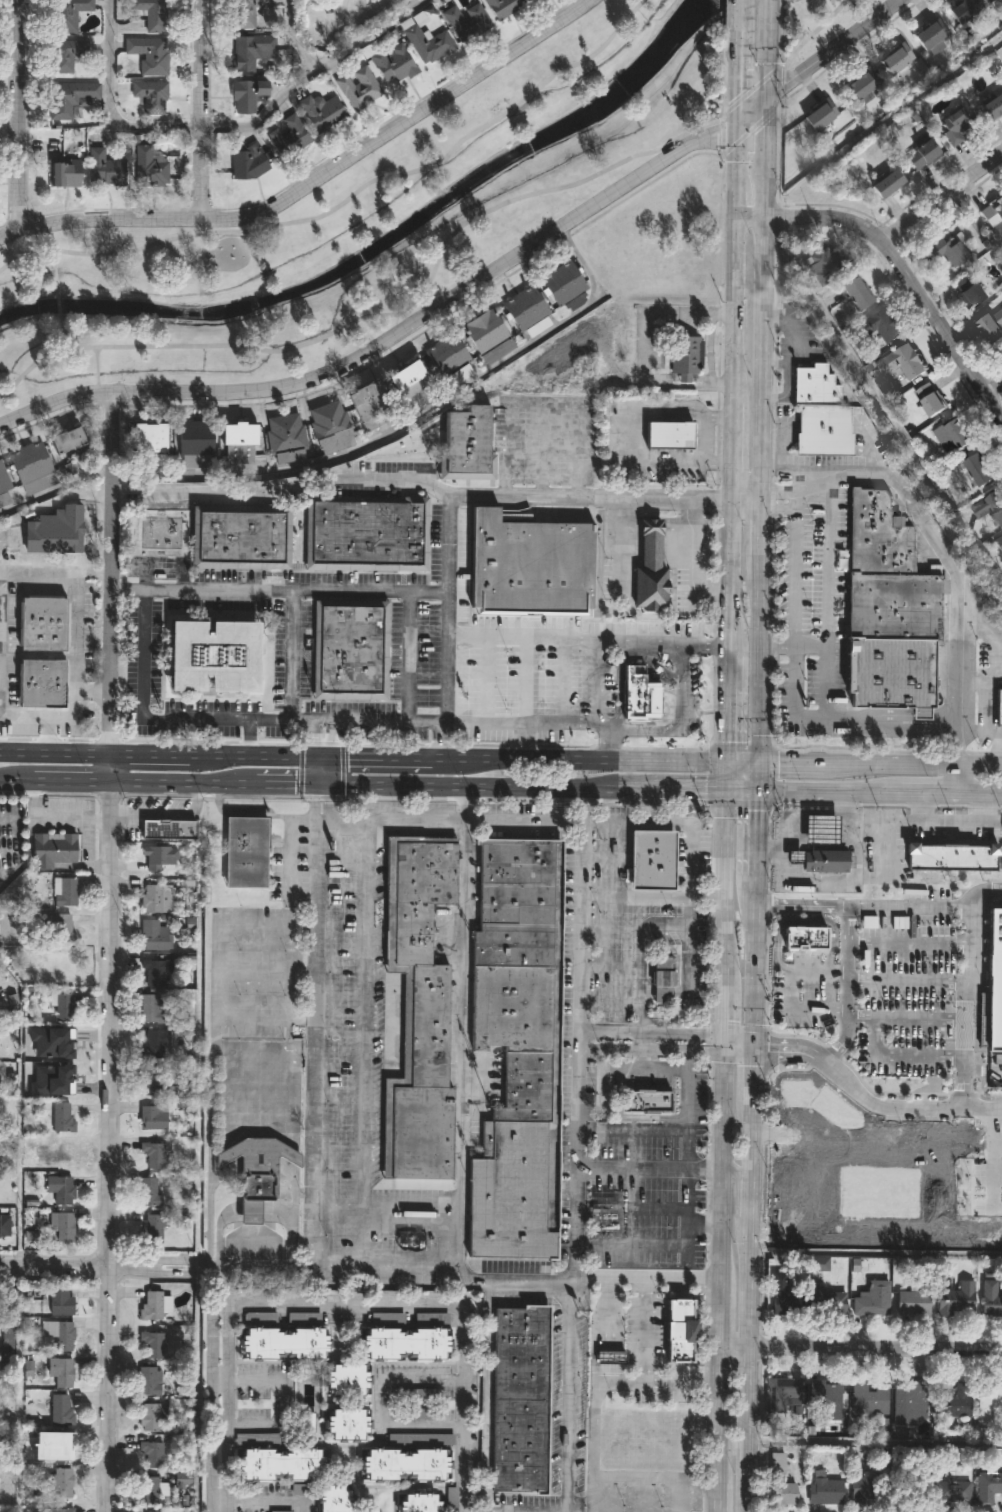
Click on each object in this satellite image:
building: (504, 7)
building: (246, 12)
building: (963, 12)
road: (769, 13)
building: (69, 14)
road: (727, 14)
road: (740, 14)
road: (778, 15)
building: (148, 16)
building: (467, 22)
building: (930, 33)
road: (287, 39)
building: (430, 44)
road: (799, 45)
building: (251, 51)
building: (150, 54)
building: (68, 55)
building: (895, 59)
building: (395, 64)
road: (311, 72)
building: (861, 84)
building: (360, 88)
building: (249, 96)
traffic signals: (770, 96)
building: (152, 97)
building: (70, 98)
road: (109, 103)
building: (992, 106)
road: (198, 110)
building: (323, 112)
road: (17, 115)
building: (819, 115)
traffic signals: (738, 125)
building: (956, 127)
building: (290, 137)
building: (922, 155)
building: (251, 163)
building: (107, 169)
building: (151, 169)
building: (67, 175)
road: (316, 182)
building: (887, 184)
road: (346, 198)
road: (943, 199)
park: (394, 208)
building: (992, 211)
building: (948, 251)
road: (766, 263)
road: (904, 265)
building: (822, 266)
road: (55, 271)
building: (572, 279)
road: (476, 286)
building: (556, 288)
building: (968, 291)
building: (855, 294)
road: (423, 295)
road: (58, 305)
building: (535, 309)
building: (521, 317)
building: (878, 325)
building: (991, 326)
building: (493, 327)
road: (61, 336)
building: (478, 337)
road: (641, 345)
road: (710, 349)
building: (457, 356)
road: (734, 356)
building: (686, 357)
building: (901, 362)
building: (442, 365)
building: (414, 374)
building: (401, 382)
road: (992, 384)
building: (816, 387)
building: (930, 399)
building: (379, 403)
building: (365, 410)
road: (698, 411)
building: (336, 416)
building: (321, 421)
road: (640, 423)
building: (824, 430)
building: (295, 431)
building: (275, 435)
building: (952, 436)
building: (667, 437)
road: (675, 437)
road: (706, 438)
building: (76, 439)
building: (143, 439)
building: (161, 439)
building: (186, 439)
building: (204, 439)
building: (232, 442)
building: (248, 443)
building: (465, 444)
building: (62, 445)
road: (351, 449)
road: (675, 456)
building: (39, 462)
road: (637, 462)
building: (70, 468)
building: (22, 469)
building: (977, 469)
building: (3, 482)
road: (281, 491)
road: (461, 500)
road: (748, 500)
road: (781, 501)
road: (797, 505)
building: (989, 506)
building: (56, 533)
building: (366, 535)
building: (879, 538)
building: (239, 539)
building: (999, 542)
road: (693, 560)
building: (528, 568)
road: (91, 570)
building: (655, 573)
road: (797, 578)
road: (127, 591)
road: (160, 591)
road: (826, 601)
building: (894, 608)
building: (43, 625)
road: (984, 625)
road: (760, 631)
road: (522, 636)
road: (617, 641)
road: (74, 644)
road: (744, 646)
road: (779, 646)
road: (812, 648)
building: (350, 651)
road: (292, 657)
building: (215, 658)
road: (408, 658)
road: (956, 659)
building: (889, 675)
road: (979, 679)
parking lot: (520, 680)
building: (43, 684)
road: (90, 691)
building: (640, 695)
building: (999, 709)
road: (306, 721)
road: (382, 722)
road: (542, 724)
road: (682, 724)
road: (726, 724)
road: (990, 735)
road: (48, 736)
road: (249, 738)
road: (321, 738)
road: (955, 747)
road: (160, 754)
traffic signals: (321, 756)
road: (523, 757)
traffic signals: (725, 762)
road: (740, 762)
traffic signals: (756, 762)
road: (879, 763)
road: (320, 770)
road: (724, 775)
road: (756, 775)
road: (9, 778)
road: (953, 779)
road: (63, 780)
road: (175, 782)
road: (281, 784)
traffic signals: (320, 785)
road: (483, 786)
road: (685, 787)
traffic signals: (724, 788)
road: (740, 788)
traffic signals: (756, 789)
road: (827, 790)
road: (925, 793)
road: (977, 794)
road: (465, 804)
road: (581, 805)
road: (647, 805)
road: (815, 815)
road: (78, 816)
road: (166, 816)
road: (450, 822)
road: (950, 822)
road: (97, 823)
road: (670, 824)
road: (755, 829)
building: (168, 830)
building: (820, 835)
road: (1, 845)
building: (52, 848)
building: (247, 853)
building: (953, 856)
building: (159, 857)
building: (794, 859)
road: (290, 860)
building: (652, 862)
building: (825, 863)
road: (854, 885)
building: (65, 891)
road: (979, 893)
road: (652, 897)
building: (156, 898)
building: (60, 927)
building: (154, 935)
building: (805, 941)
road: (902, 946)
road: (108, 952)
road: (342, 958)
building: (64, 967)
building: (153, 970)
building: (663, 981)
road: (840, 983)
road: (902, 984)
parking lot: (886, 990)
building: (991, 991)
road: (791, 993)
building: (63, 1008)
building: (150, 1008)
building: (416, 1015)
road: (915, 1023)
parking lot: (331, 1024)
road: (959, 1024)
road: (633, 1041)
road: (212, 1042)
building: (65, 1043)
road: (704, 1043)
building: (155, 1044)
road: (738, 1044)
road: (463, 1048)
building: (517, 1051)
road: (579, 1052)
road: (880, 1059)
road: (365, 1068)
road: (980, 1074)
parking lot: (577, 1075)
building: (65, 1080)
building: (150, 1081)
road: (341, 1096)
building: (648, 1104)
road: (684, 1107)
road: (980, 1110)
building: (61, 1116)
building: (152, 1117)
road: (722, 1150)
building: (62, 1153)
building: (152, 1154)
building: (260, 1158)
road: (316, 1159)
road: (631, 1169)
road: (702, 1171)
road: (737, 1171)
building: (62, 1190)
building: (260, 1190)
building: (147, 1191)
road: (751, 1191)
building: (252, 1213)
road: (340, 1218)
building: (63, 1227)
building: (154, 1227)
road: (702, 1227)
road: (255, 1239)
road: (670, 1248)
road: (876, 1254)
road: (270, 1262)
road: (74, 1267)
road: (648, 1280)
building: (783, 1298)
building: (872, 1298)
building: (956, 1299)
building: (991, 1299)
building: (60, 1302)
building: (828, 1302)
building: (912, 1303)
building: (150, 1306)
road: (436, 1307)
building: (680, 1329)
road: (637, 1332)
building: (58, 1334)
building: (284, 1342)
building: (406, 1342)
building: (151, 1344)
road: (226, 1347)
road: (860, 1349)
building: (611, 1356)
road: (211, 1362)
building: (59, 1372)
building: (347, 1378)
road: (593, 1379)
building: (148, 1380)
road: (656, 1383)
building: (785, 1389)
road: (567, 1395)
road: (487, 1396)
building: (828, 1398)
building: (870, 1398)
road: (282, 1401)
building: (520, 1401)
building: (910, 1402)
building: (990, 1402)
building: (954, 1405)
road: (380, 1406)
building: (60, 1410)
building: (148, 1417)
building: (347, 1423)
road: (874, 1445)
building: (62, 1447)
building: (151, 1454)
building: (283, 1463)
building: (404, 1463)
road: (660, 1477)
building: (779, 1482)
building: (62, 1484)
building: (990, 1488)
building: (147, 1490)
building: (861, 1490)
building: (954, 1490)
building: (826, 1491)
road: (602, 1494)
building: (336, 1499)
building: (417, 1502)
road: (260, 1504)
building: (59, 1510)

